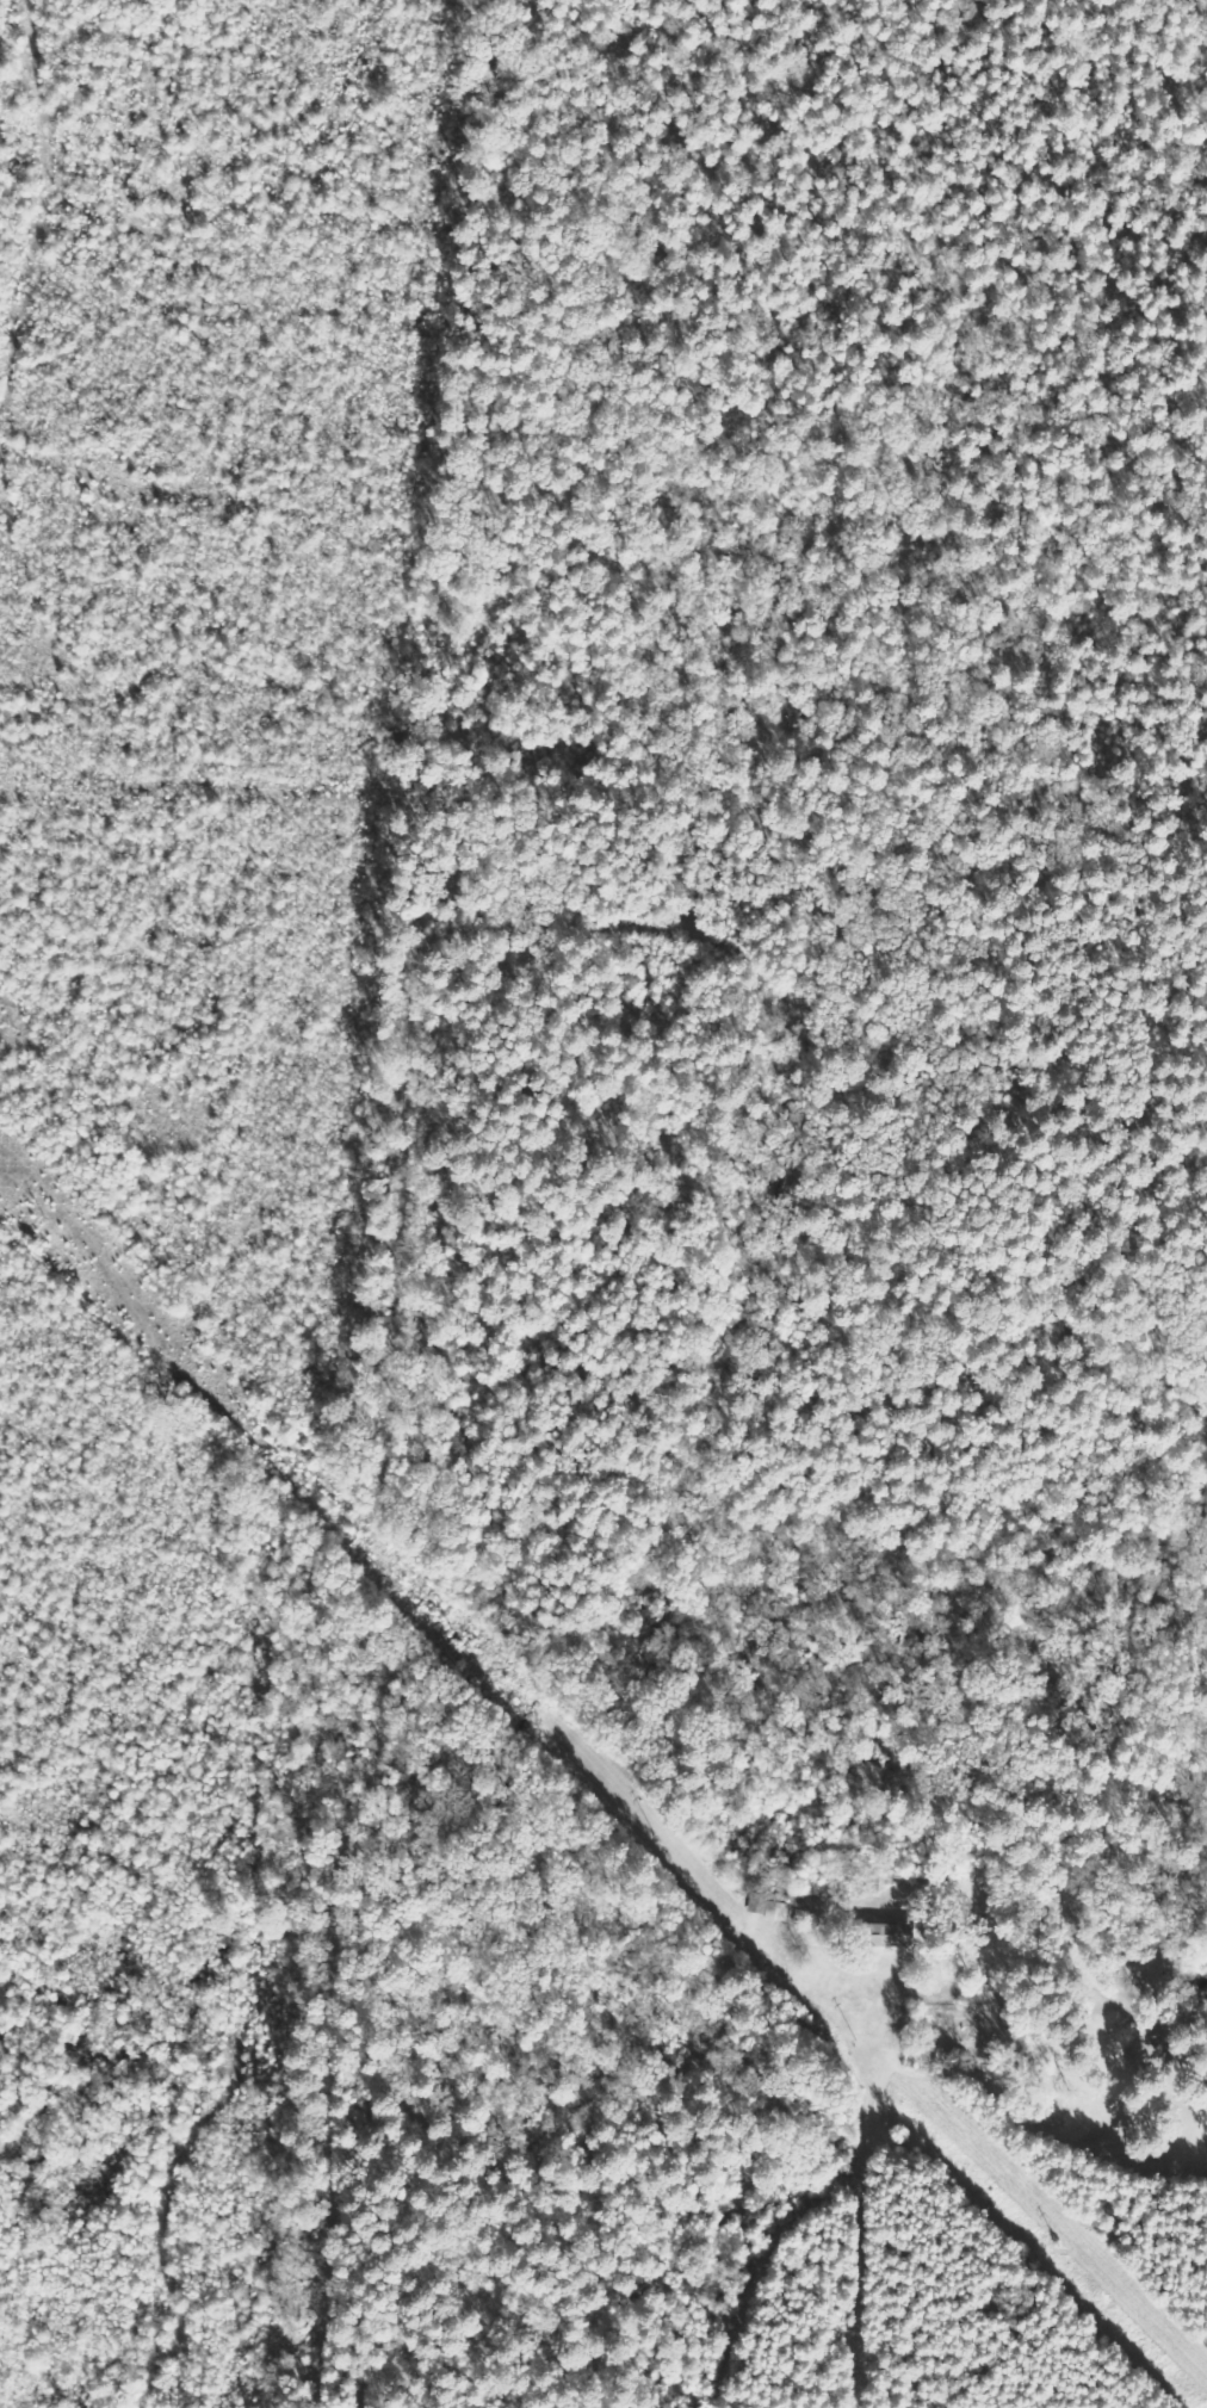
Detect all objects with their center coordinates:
building: (774, 1909)
building: (884, 1936)
building: (1200, 1991)

